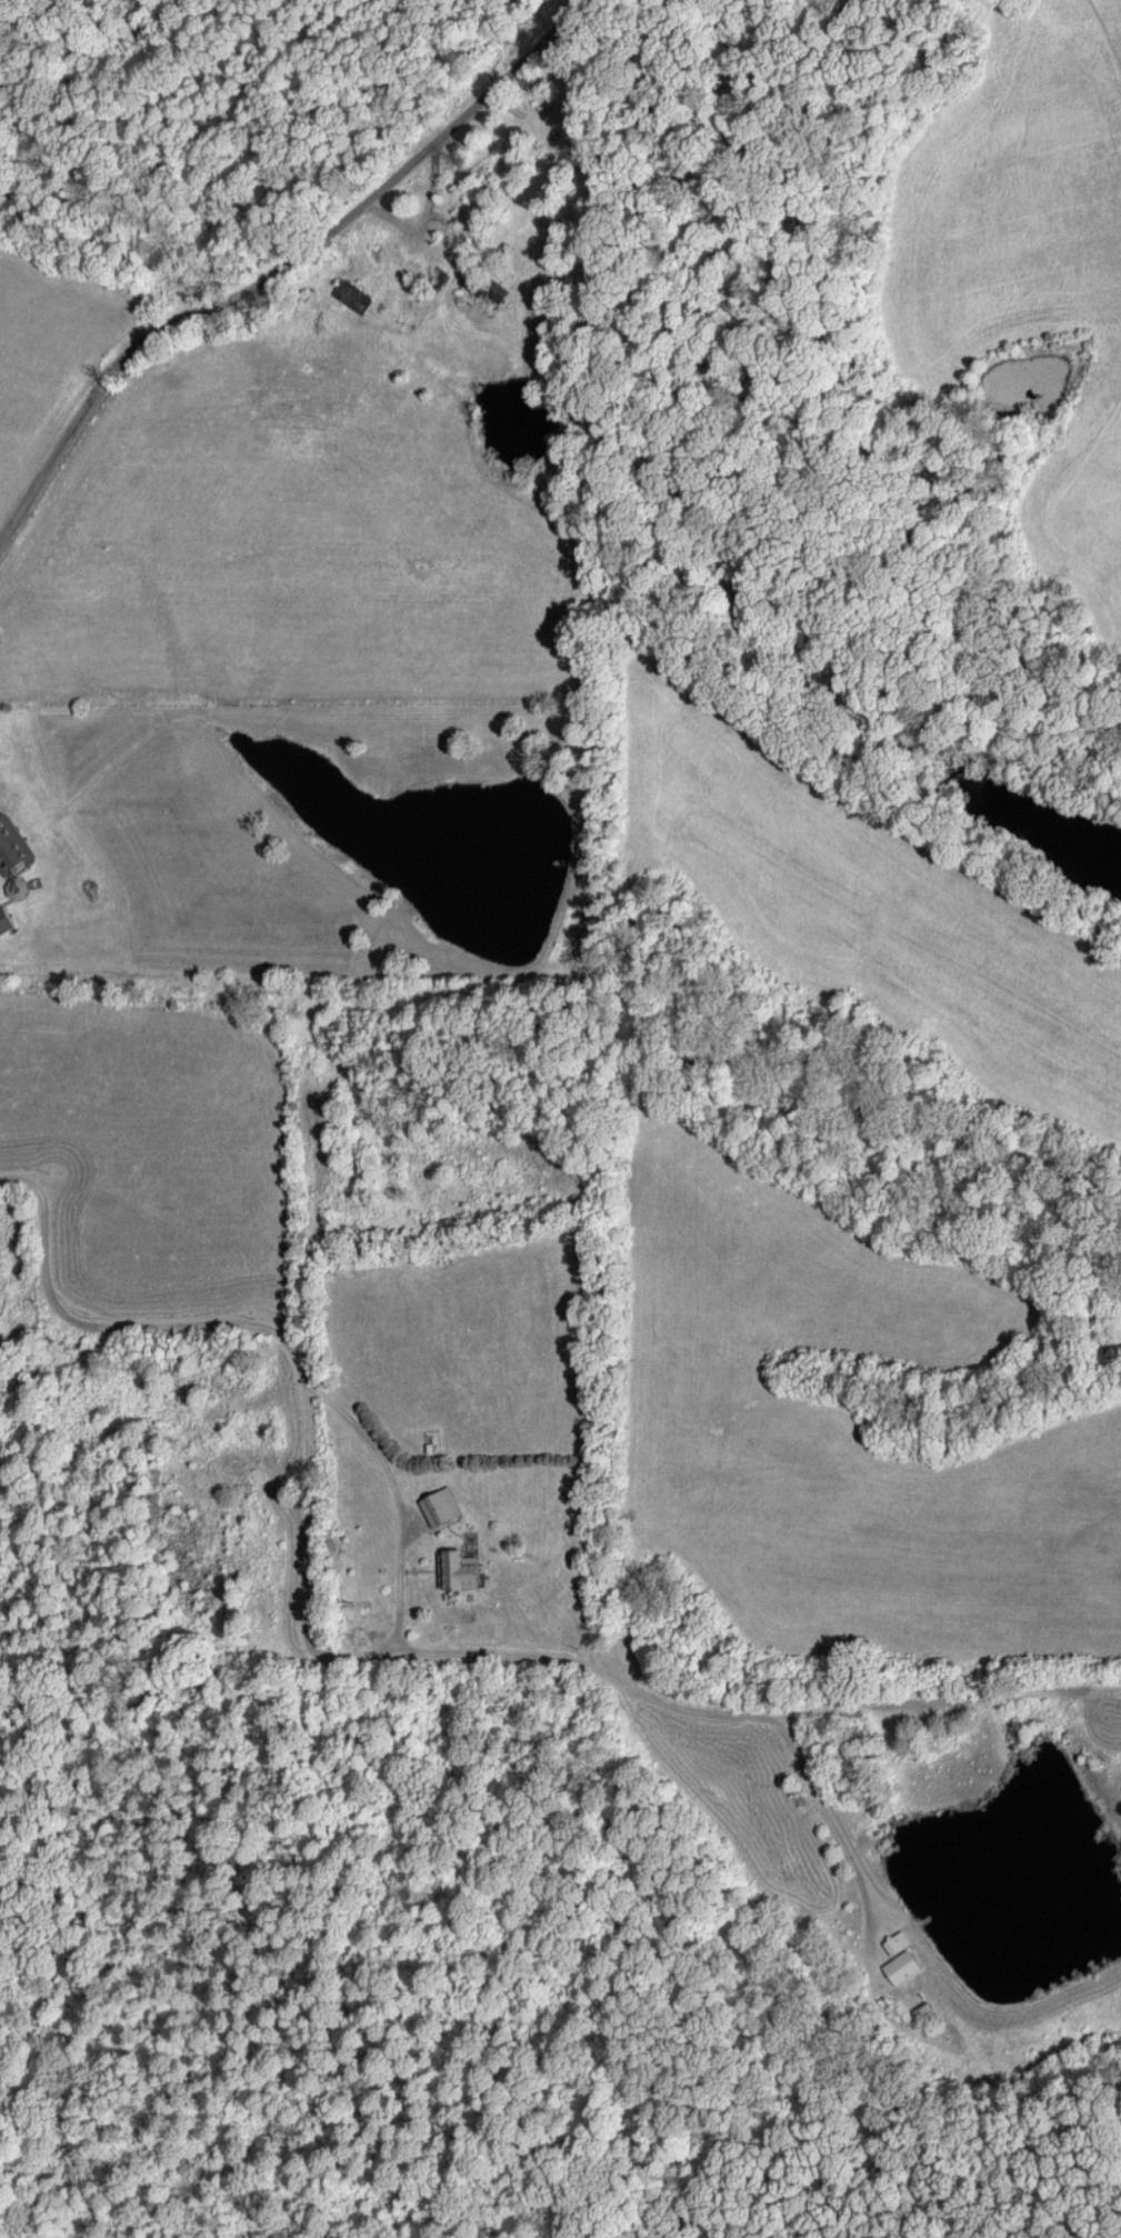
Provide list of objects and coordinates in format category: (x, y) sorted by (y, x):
road: (274, 271)
building: (12, 847)
building: (4, 920)
building: (441, 1506)
building: (459, 1570)
building: (898, 1942)
building: (902, 1967)

